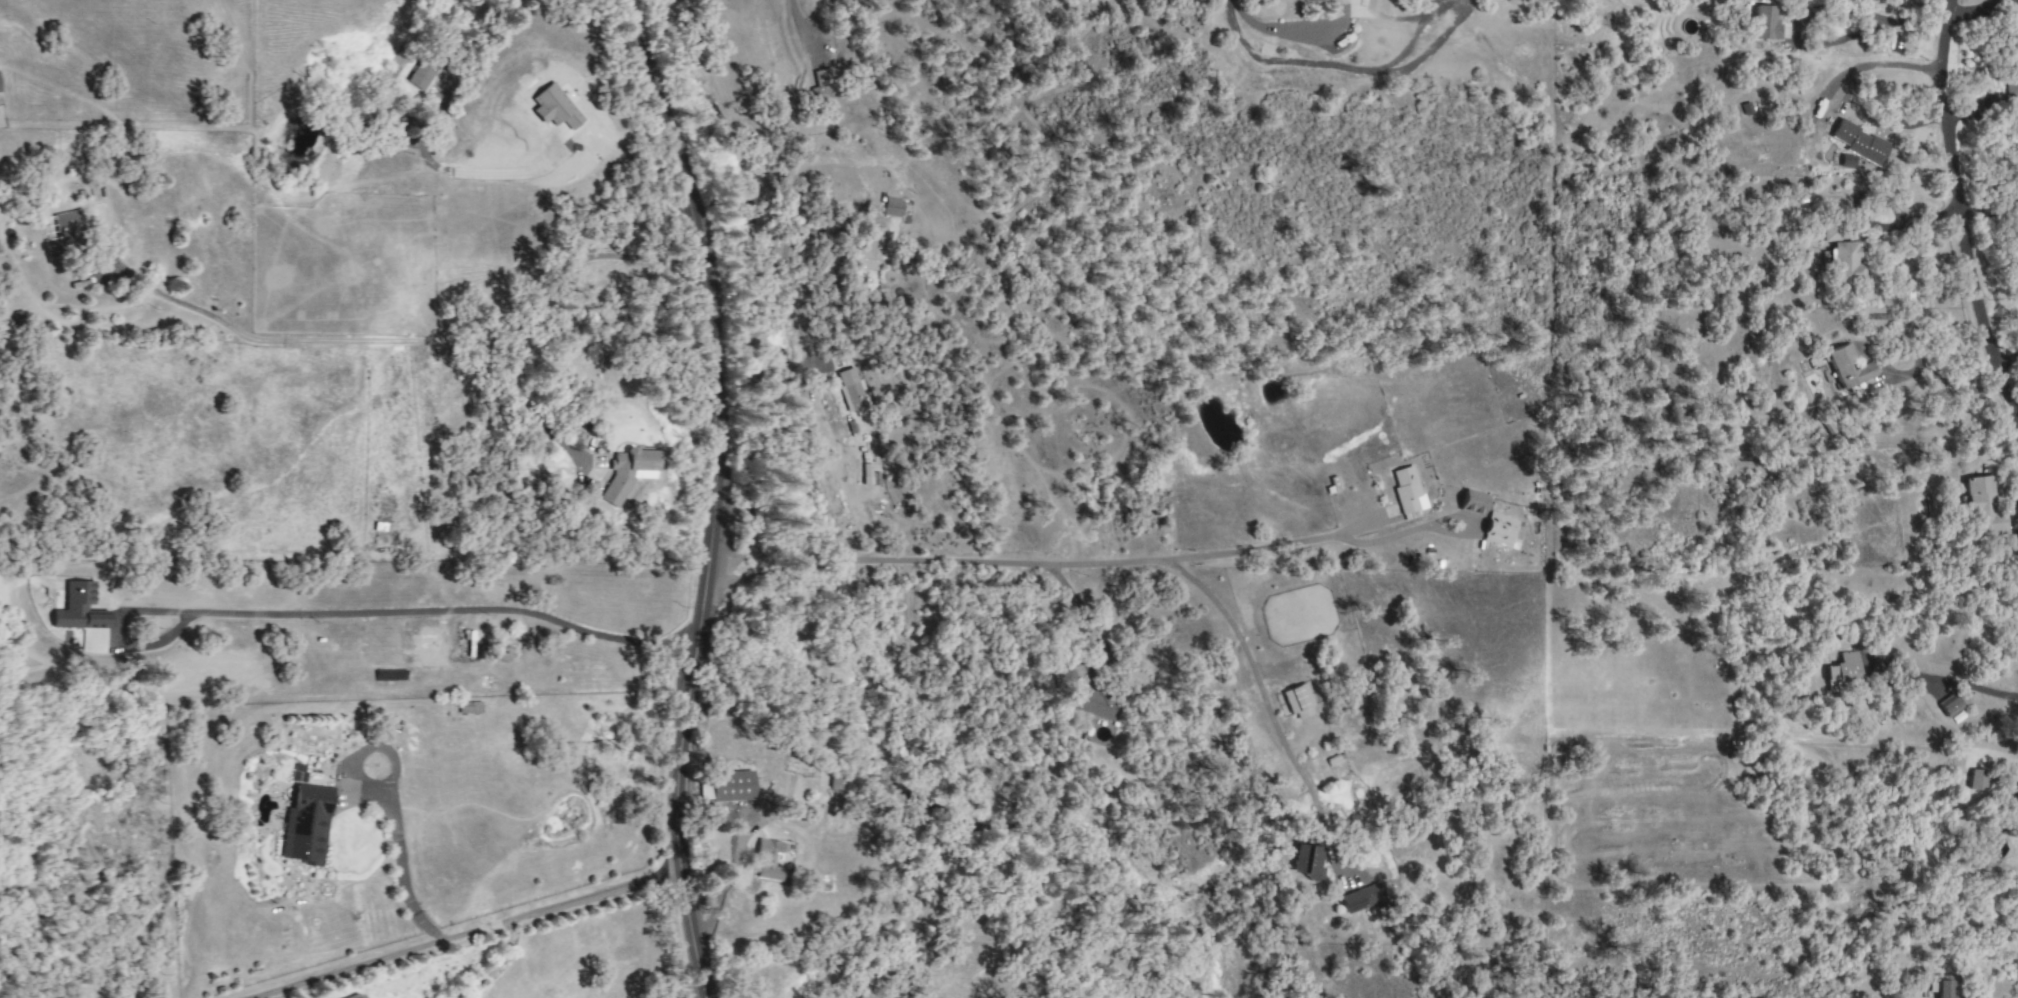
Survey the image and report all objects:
building: (1321, 0)
road: (1972, 10)
building: (1763, 22)
road: (1878, 24)
road: (798, 25)
road: (1280, 29)
road: (467, 51)
building: (421, 74)
building: (2012, 88)
road: (403, 140)
building: (1858, 143)
road: (480, 176)
building: (891, 207)
road: (1959, 214)
building: (65, 226)
building: (1830, 232)
building: (870, 249)
building: (1845, 263)
road: (785, 288)
road: (180, 304)
road: (499, 340)
building: (1847, 367)
road: (1947, 383)
building: (851, 389)
road: (526, 403)
road: (835, 460)
building: (627, 473)
building: (865, 475)
building: (875, 478)
building: (1407, 490)
road: (723, 493)
building: (1472, 502)
building: (1982, 509)
building: (1501, 531)
road: (1395, 534)
road: (1022, 564)
building: (79, 608)
road: (421, 617)
building: (1843, 670)
road: (1959, 684)
building: (1085, 698)
road: (1265, 701)
building: (1298, 702)
building: (1948, 705)
building: (468, 708)
building: (297, 773)
building: (1977, 779)
building: (730, 786)
building: (2016, 791)
road: (766, 818)
building: (306, 825)
road: (95, 861)
building: (1310, 863)
road: (403, 872)
road: (724, 883)
building: (1361, 898)
road: (477, 937)
road: (488, 971)
building: (1943, 987)
building: (356, 995)

